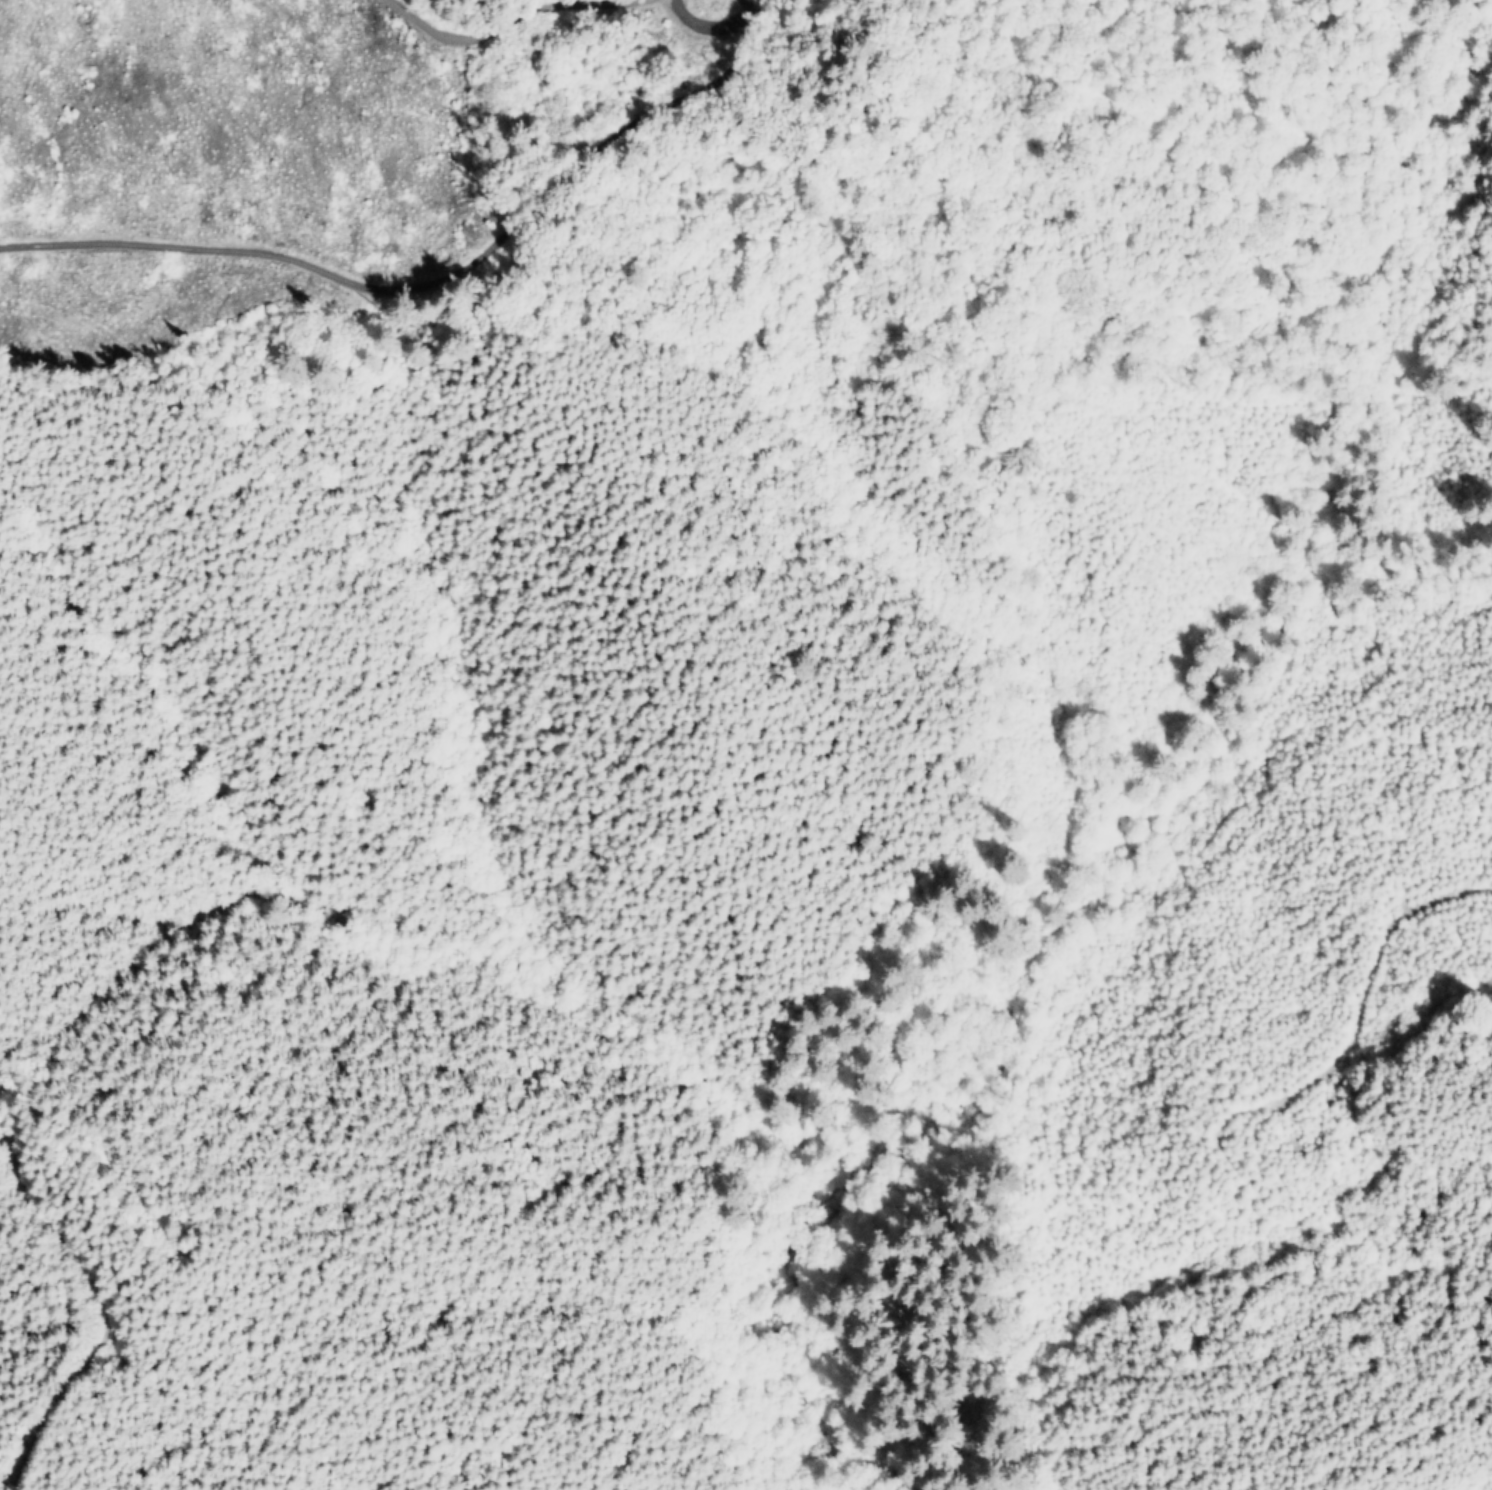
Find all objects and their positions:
road: (464, 2)
road: (392, 194)

